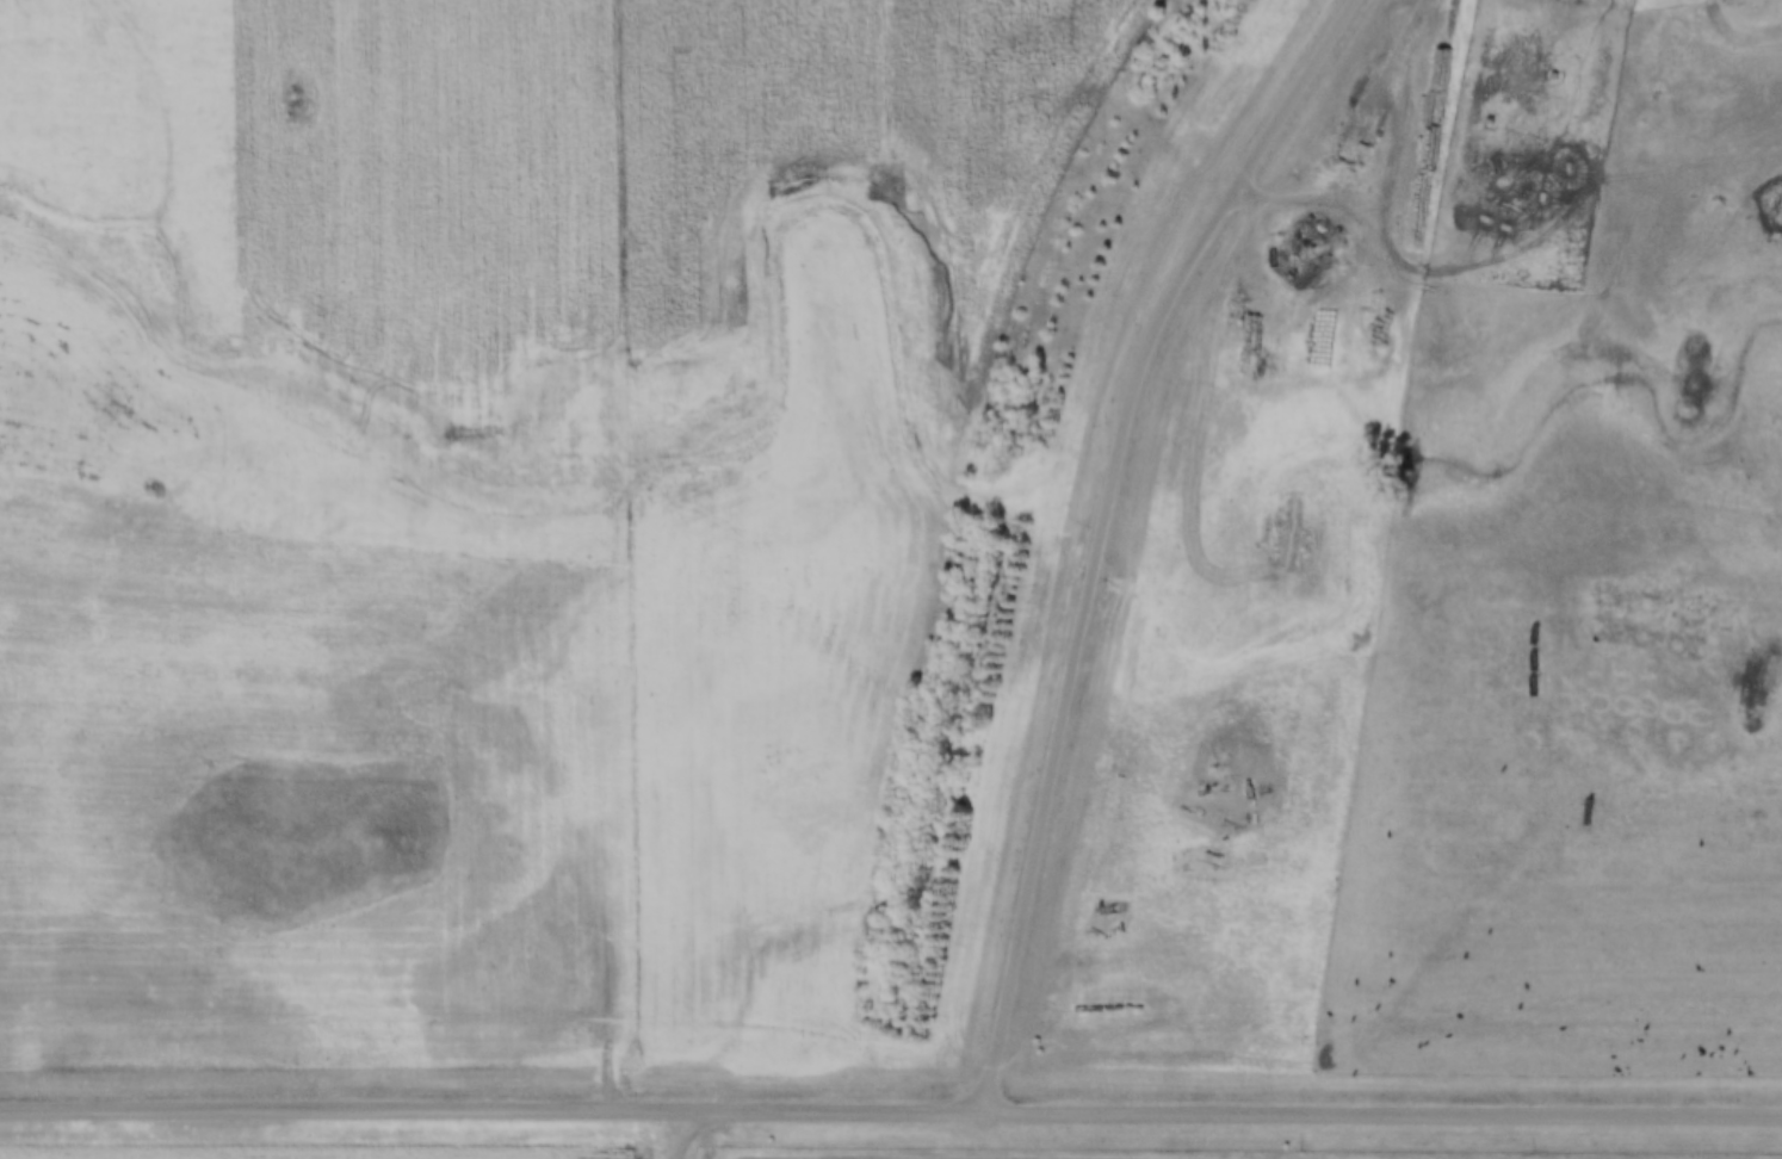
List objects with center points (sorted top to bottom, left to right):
road: (1337, 194)
road: (1450, 212)
road: (1102, 531)
road: (488, 603)
road: (891, 1111)
road: (669, 1135)

